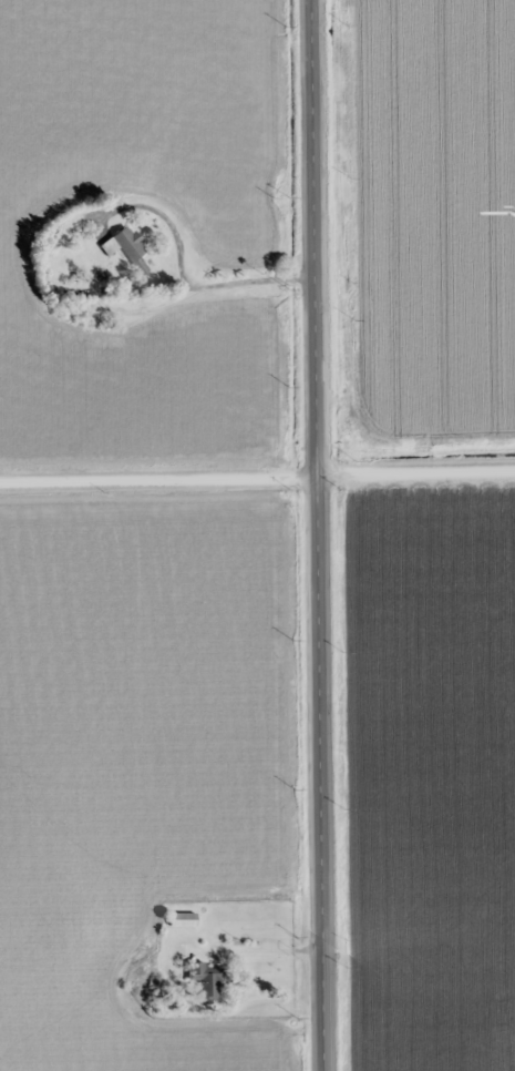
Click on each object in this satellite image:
building: (124, 245)
road: (257, 472)
road: (316, 535)
building: (183, 920)
building: (207, 982)

